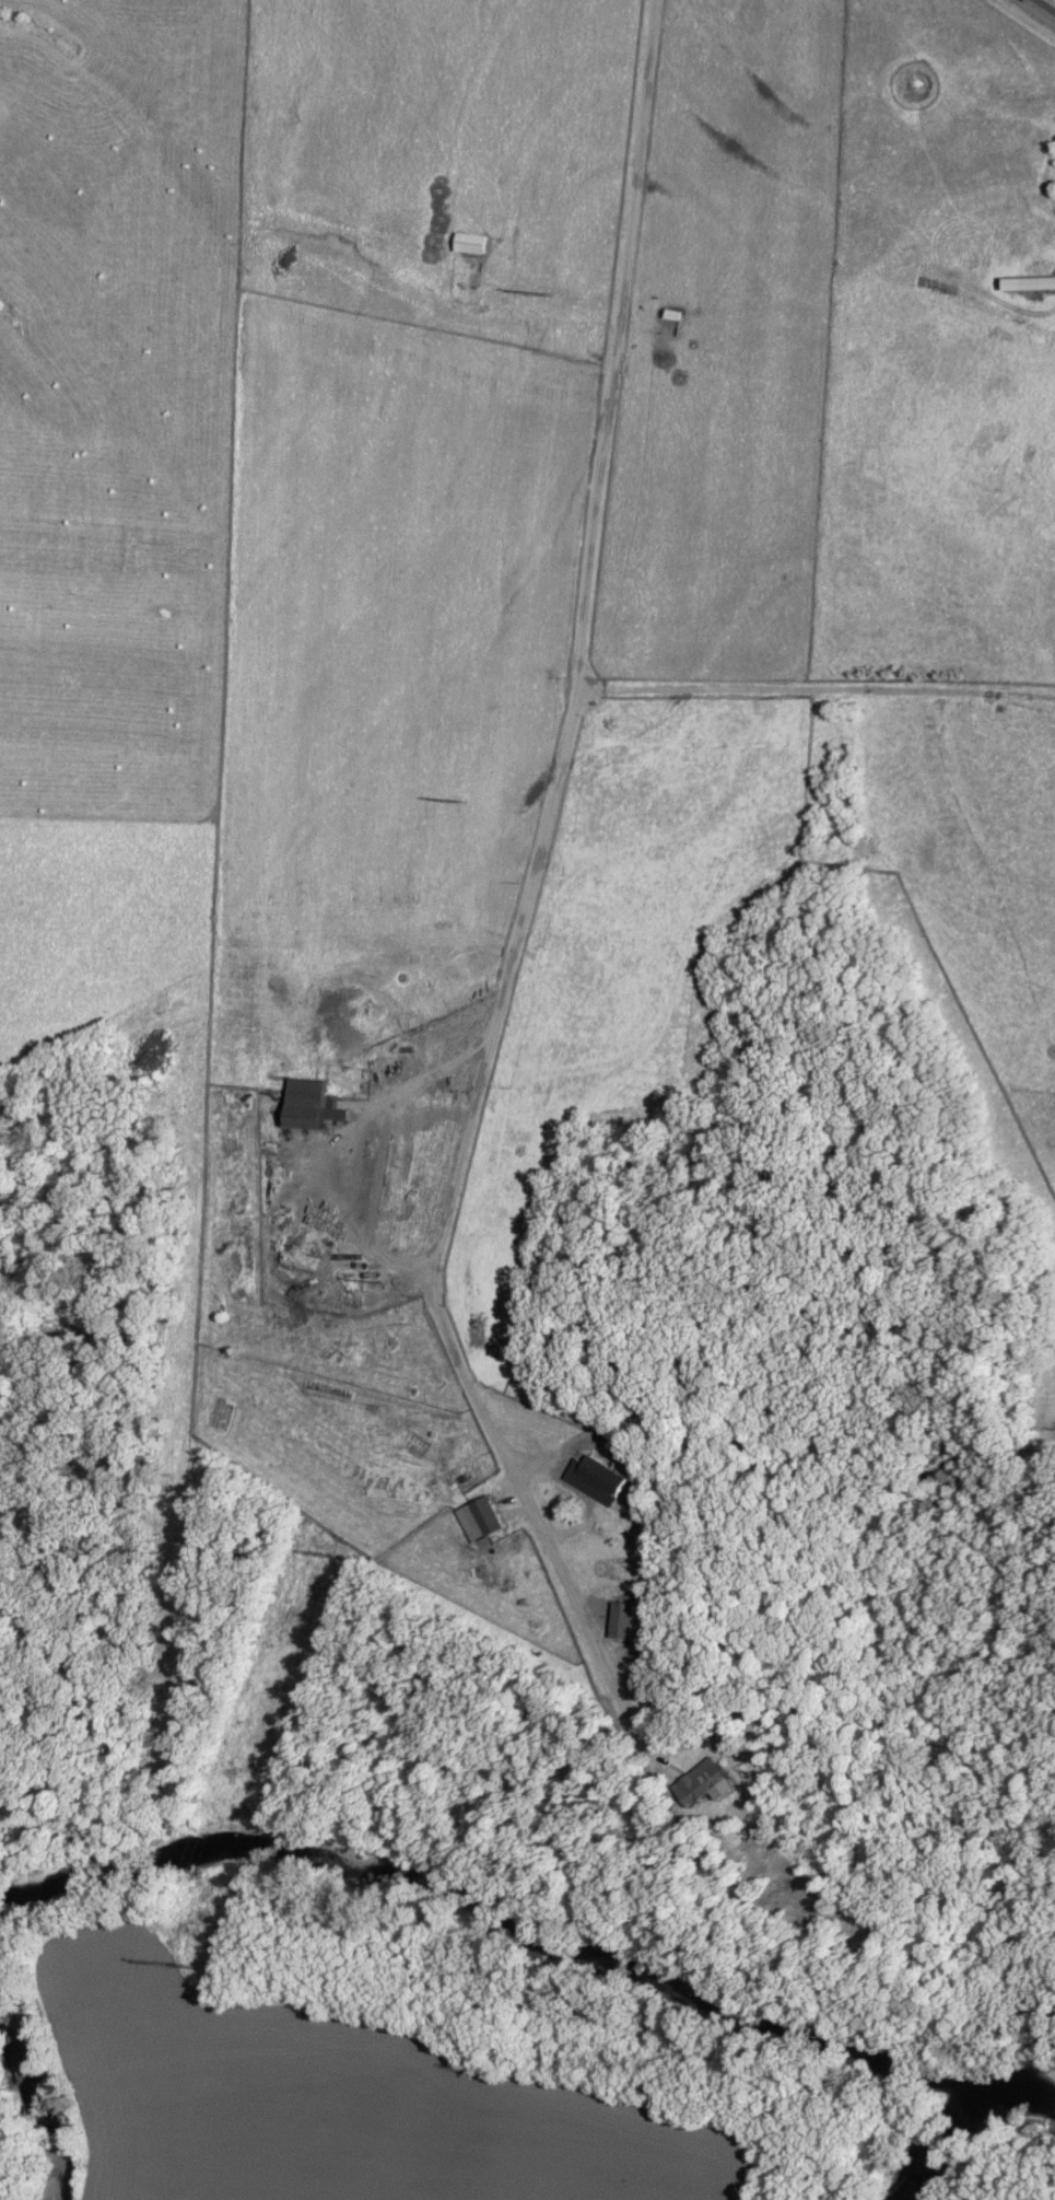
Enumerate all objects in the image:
road: (1044, 7)
building: (315, 1107)
building: (601, 1477)
building: (626, 1618)
building: (715, 1781)
river: (968, 2123)

